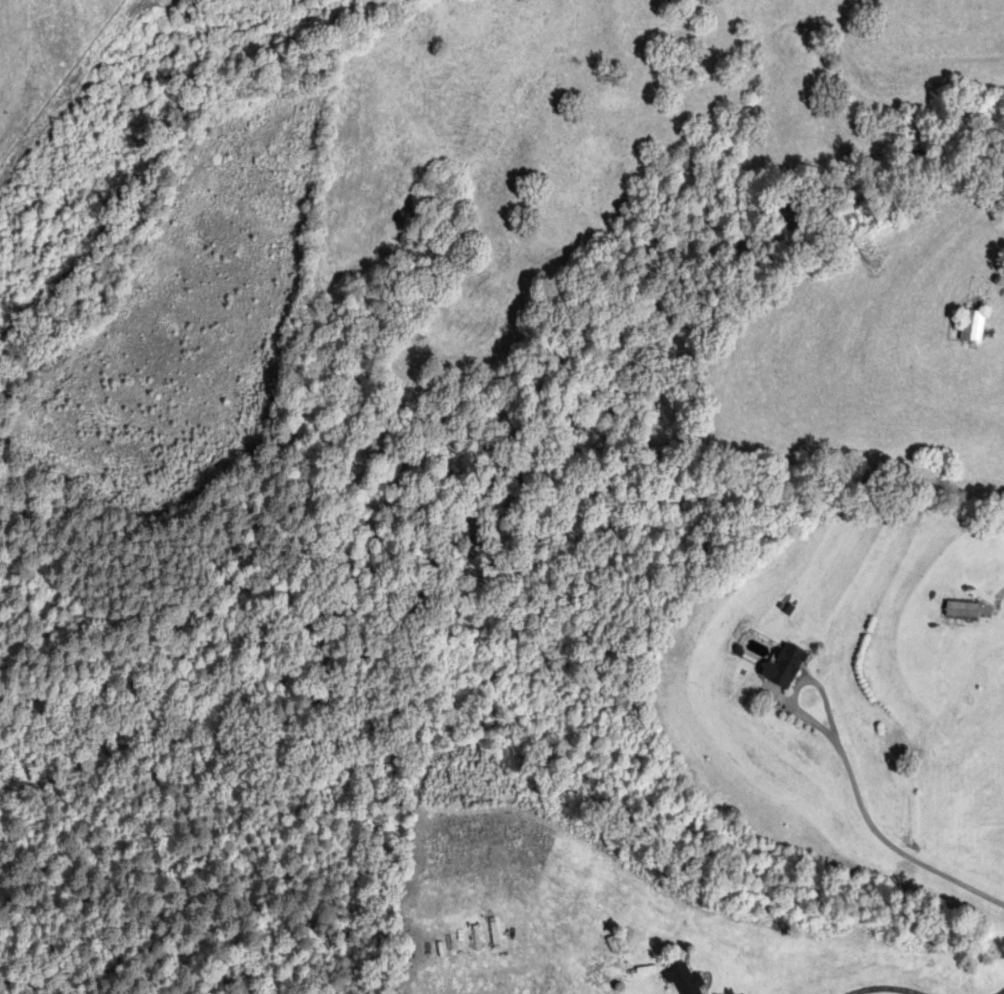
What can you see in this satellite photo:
building: (971, 327)
building: (961, 611)
building: (783, 668)
road: (869, 822)
building: (685, 980)
road: (883, 986)
road: (998, 990)

